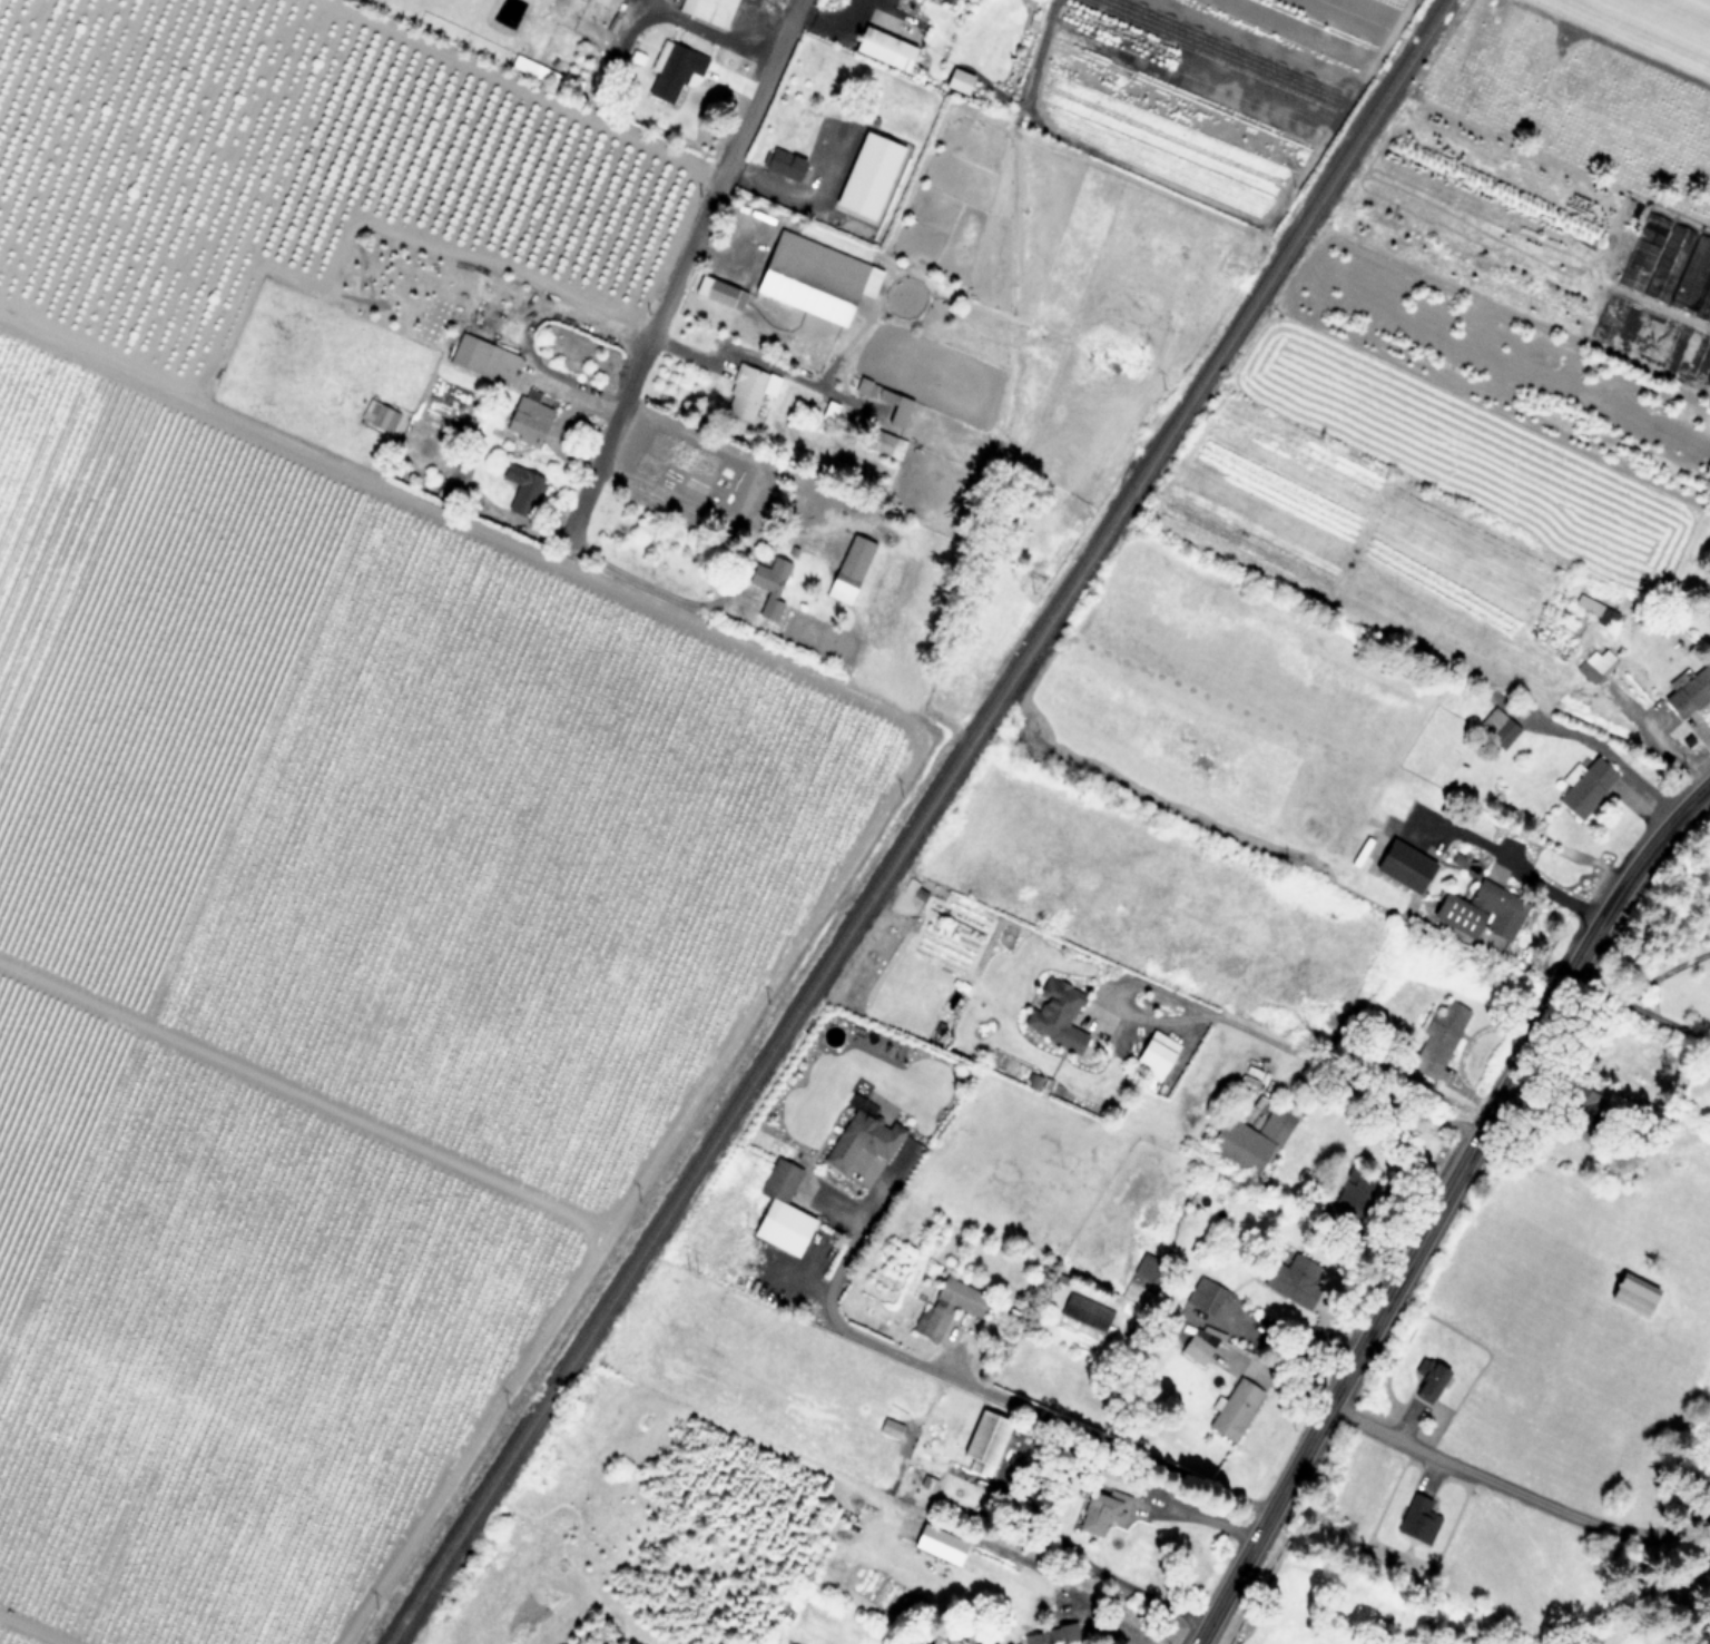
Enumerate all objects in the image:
building: (708, 11)
road: (828, 18)
road: (708, 32)
building: (883, 49)
building: (671, 70)
building: (783, 165)
building: (867, 175)
building: (1670, 267)
road: (680, 268)
building: (810, 277)
building: (724, 294)
building: (482, 358)
building: (744, 393)
building: (895, 407)
building: (377, 416)
building: (527, 421)
building: (883, 443)
building: (521, 491)
road: (702, 512)
building: (848, 569)
road: (637, 579)
building: (768, 584)
building: (1706, 595)
building: (1606, 616)
crop: (493, 657)
building: (1689, 690)
building: (1498, 729)
road: (1654, 738)
road: (1609, 752)
road: (1310, 768)
building: (504, 777)
building: (1584, 786)
railway: (915, 820)
road: (1510, 863)
building: (1403, 866)
building: (1480, 912)
building: (549, 966)
road: (1668, 972)
road: (1599, 992)
road: (1164, 1001)
building: (1054, 1015)
road: (1669, 1022)
building: (1434, 1043)
building: (1154, 1055)
road: (1345, 1077)
building: (1598, 1104)
building: (861, 1140)
building: (1238, 1146)
road: (1442, 1204)
building: (780, 1211)
road: (1586, 1211)
road: (851, 1251)
building: (1293, 1276)
building: (1631, 1293)
building: (946, 1307)
building: (1084, 1311)
building: (1195, 1349)
building: (130, 1371)
building: (1428, 1382)
building: (1234, 1410)
road: (1050, 1417)
building: (983, 1440)
road: (1460, 1466)
building: (1100, 1512)
road: (1198, 1515)
building: (1417, 1519)
building: (938, 1544)
building: (195, 1545)
road: (1094, 1566)
railway: (420, 1598)
road: (1102, 1620)

